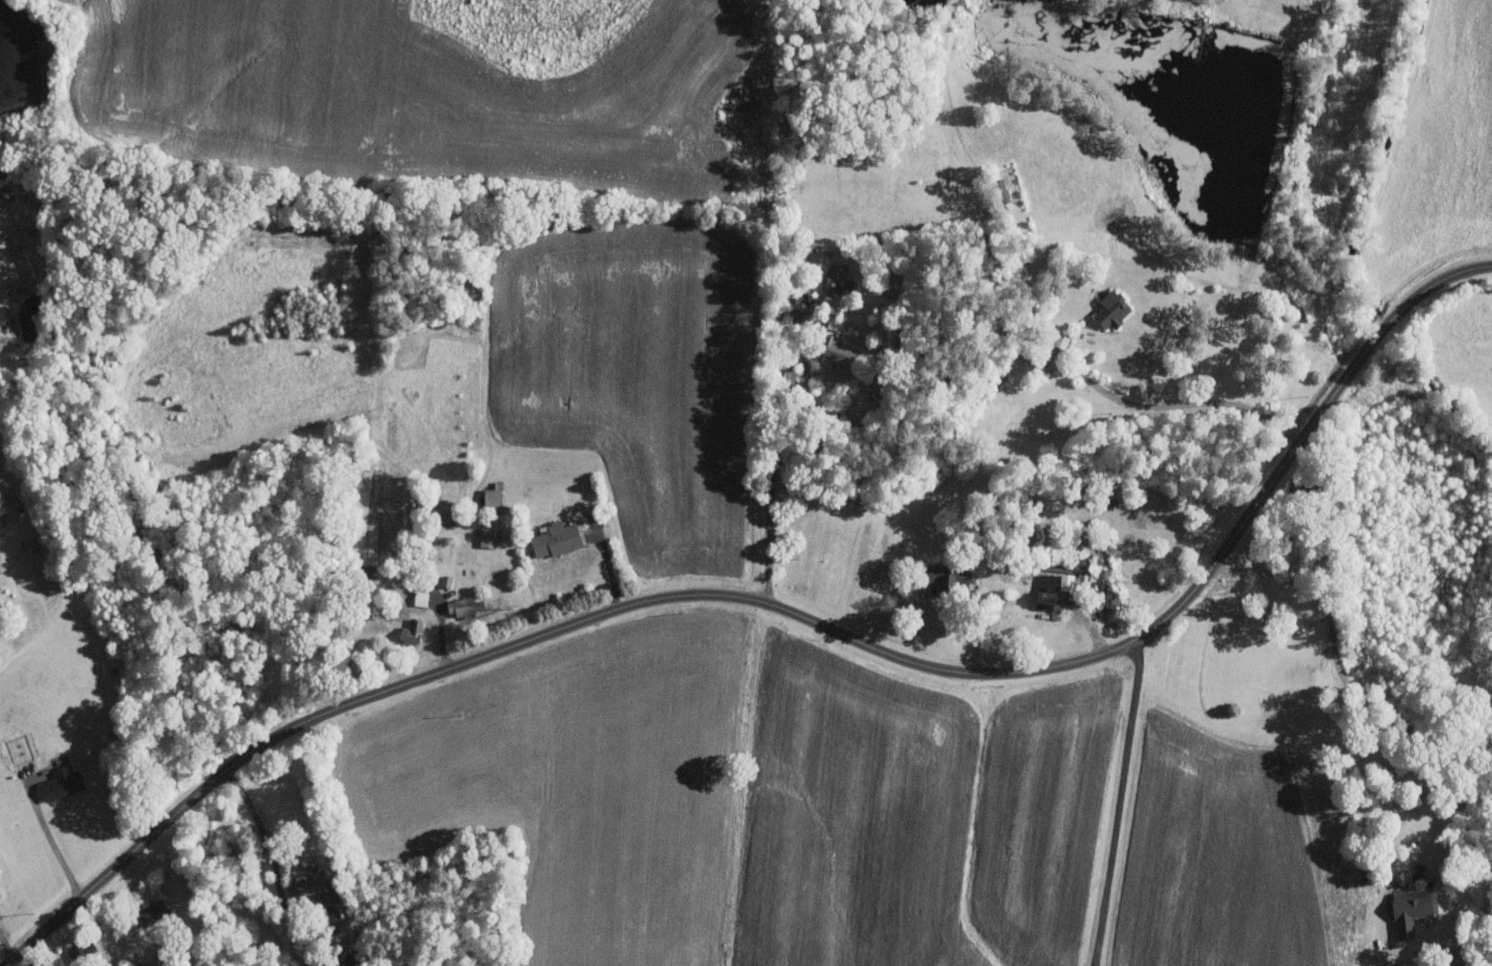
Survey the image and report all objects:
building: (802, 307)
building: (1115, 309)
building: (842, 352)
road: (1183, 404)
road: (771, 475)
building: (495, 497)
building: (448, 511)
building: (558, 538)
road: (608, 564)
building: (950, 578)
building: (1, 600)
building: (465, 607)
road: (788, 610)
building: (412, 631)
road: (1367, 694)
building: (63, 785)
road: (1120, 802)
road: (265, 831)
road: (51, 840)
building: (316, 886)
building: (1415, 909)
building: (154, 912)
road: (102, 938)

